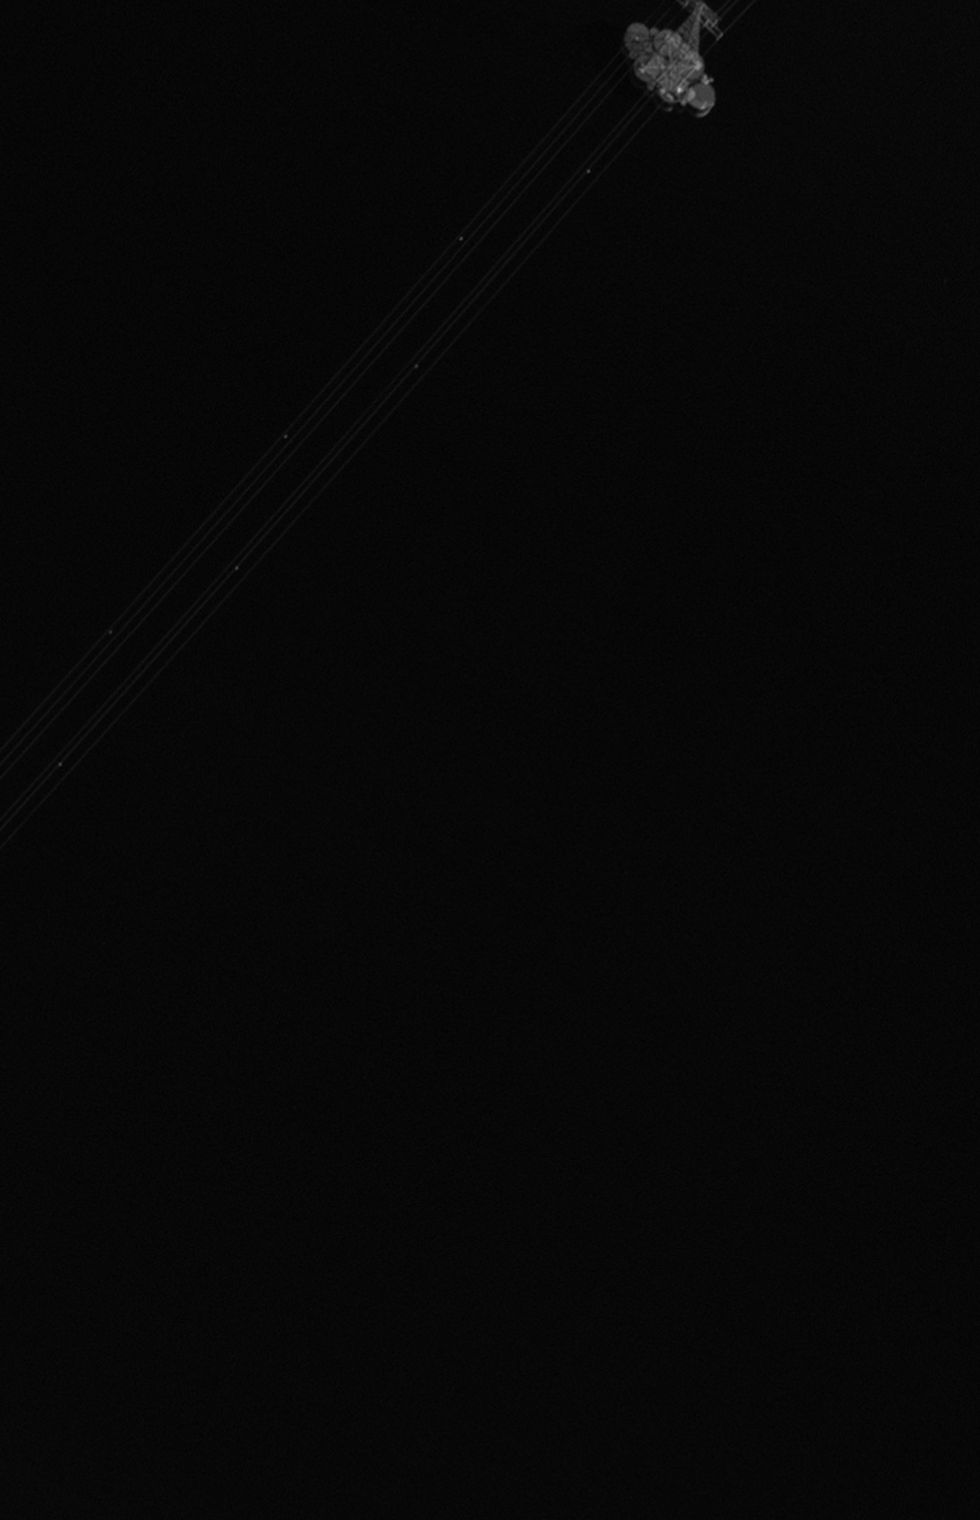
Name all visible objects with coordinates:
power tower: (681, 78)
river: (490, 913)

